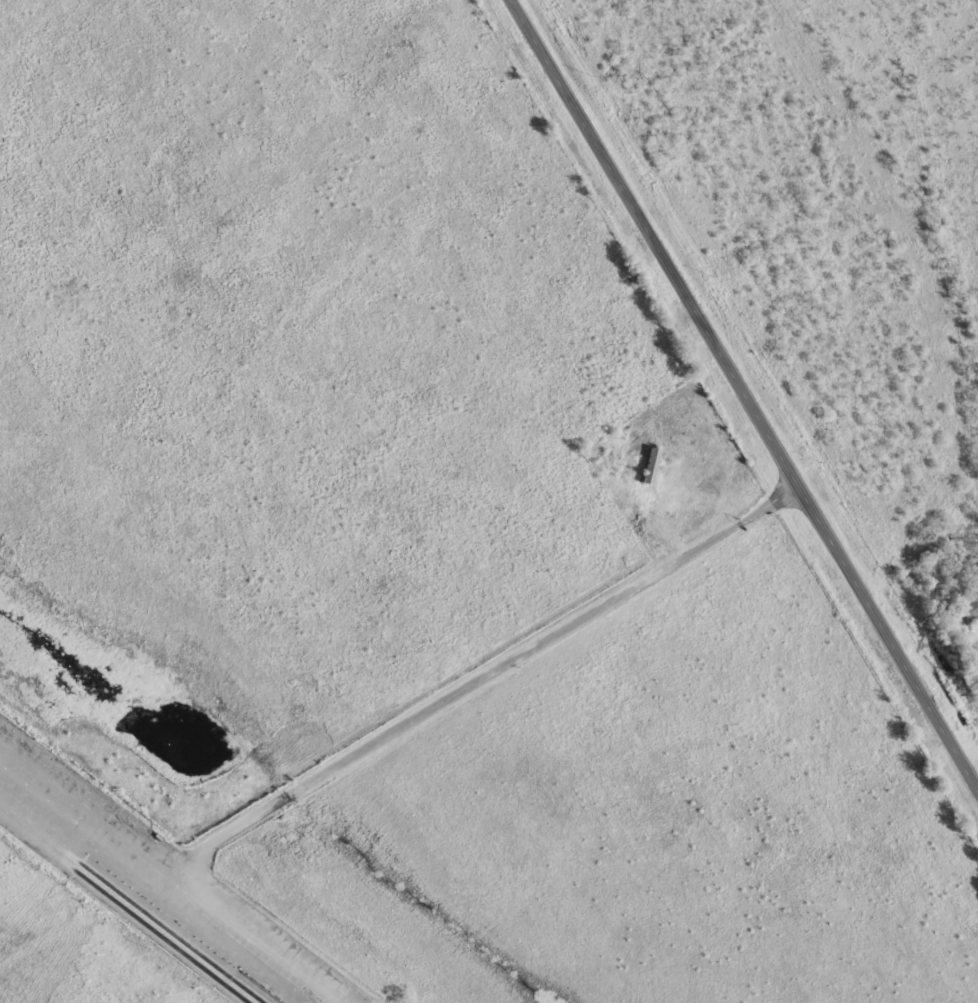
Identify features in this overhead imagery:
road: (740, 397)
building: (971, 608)
road: (495, 667)
raceway: (167, 929)
raceway: (155, 932)

